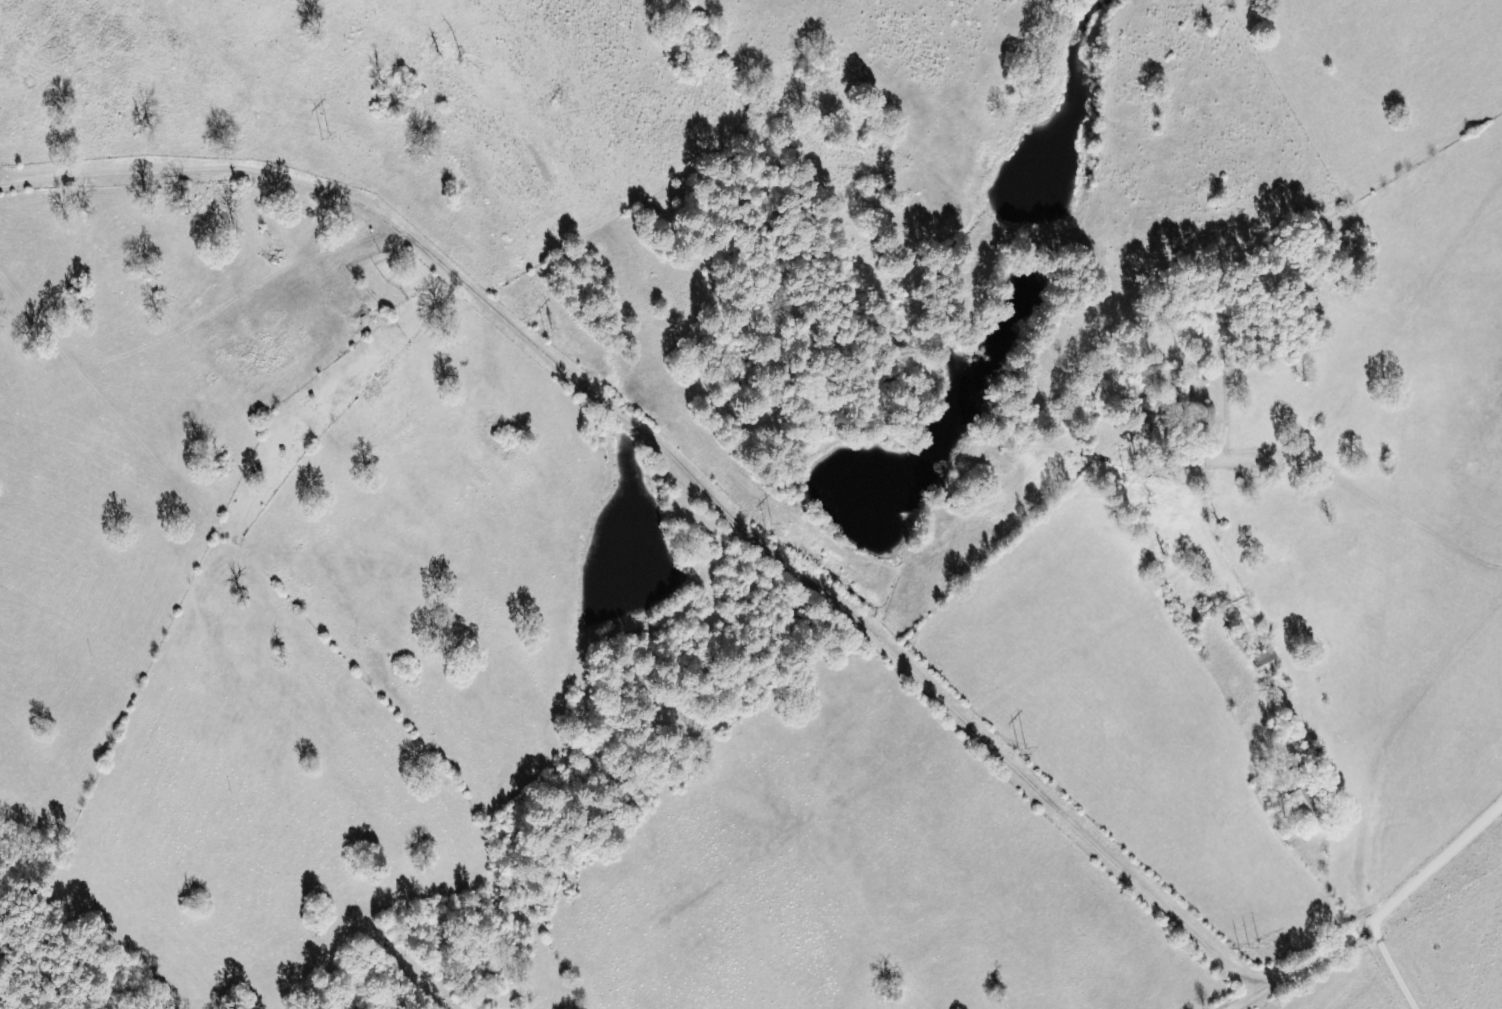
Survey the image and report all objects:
power tower: (325, 136)
power tower: (549, 331)
power tower: (772, 527)
building: (1263, 658)
power tower: (1025, 753)
road: (1439, 860)
power tower: (1248, 947)
road: (1304, 964)

